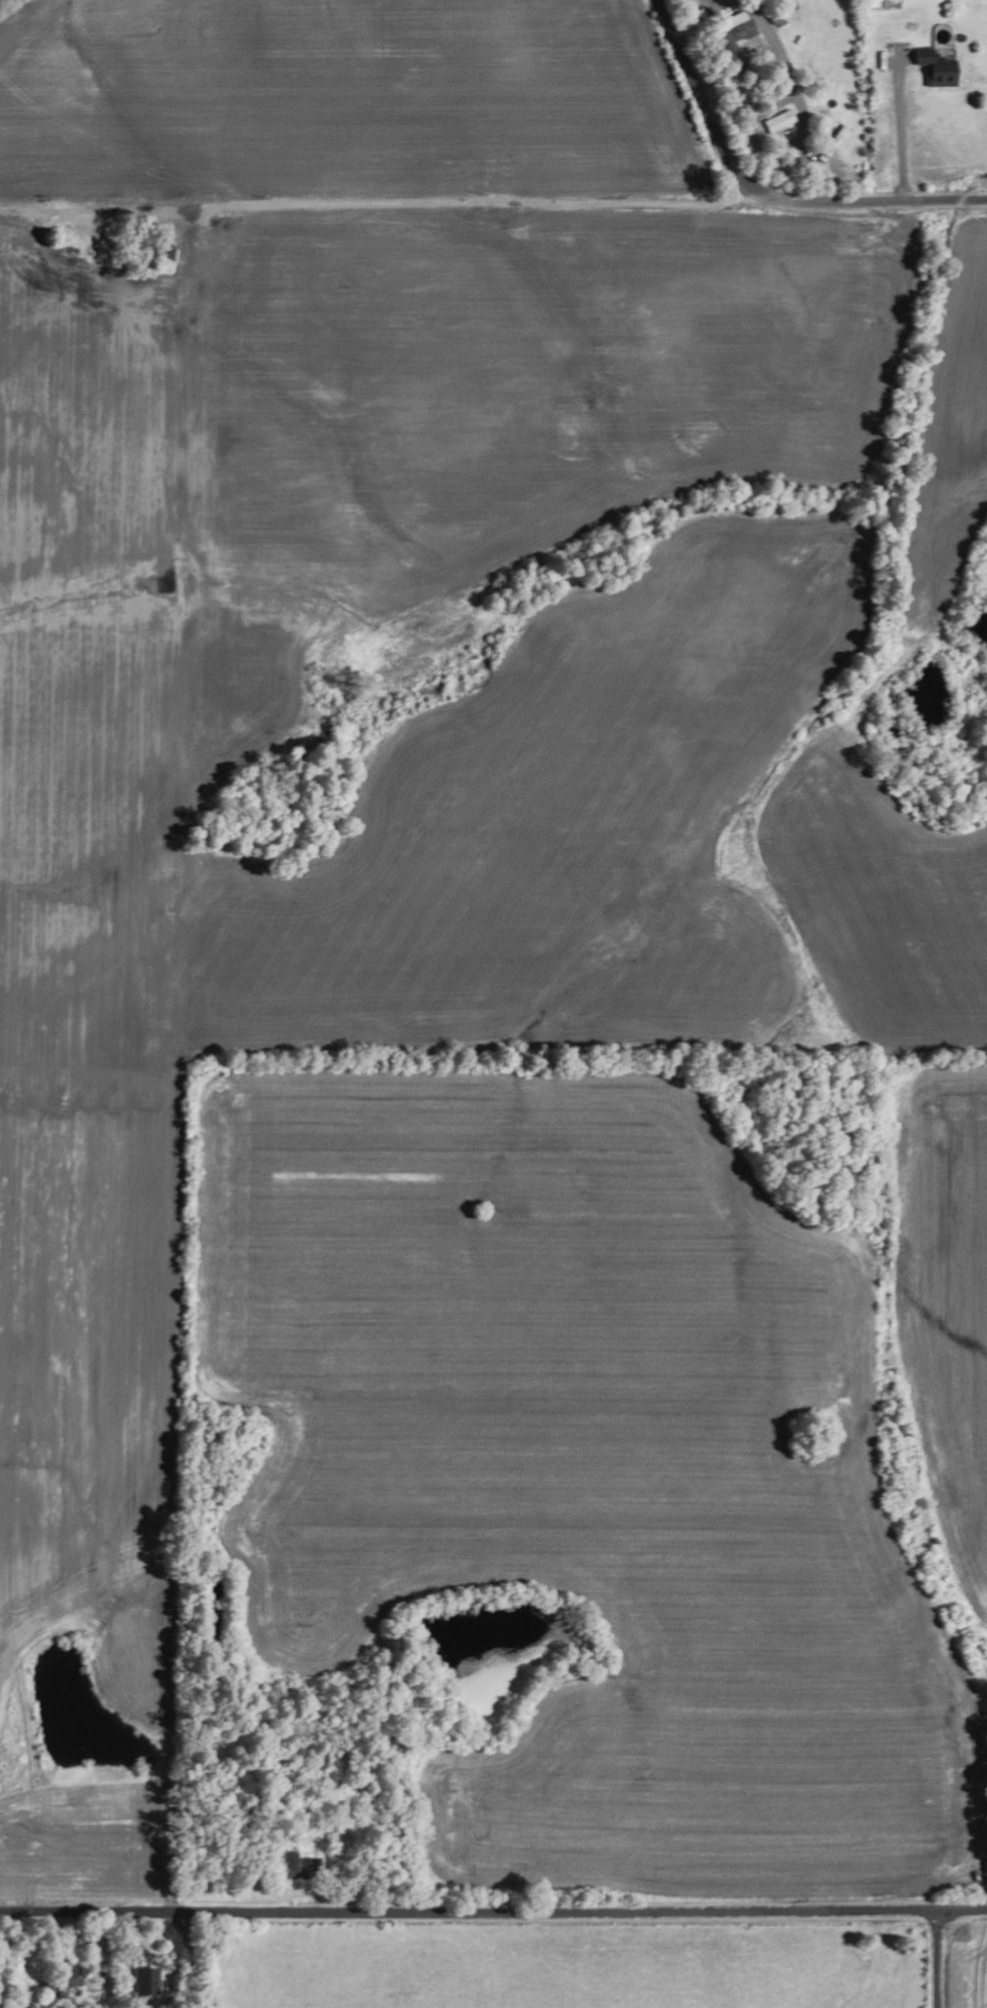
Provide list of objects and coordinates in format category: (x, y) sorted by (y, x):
building: (735, 25)
building: (939, 71)
building: (777, 121)
road: (761, 193)
building: (288, 1860)
road: (493, 1916)
road: (940, 1959)
building: (68, 1976)
building: (141, 1979)

